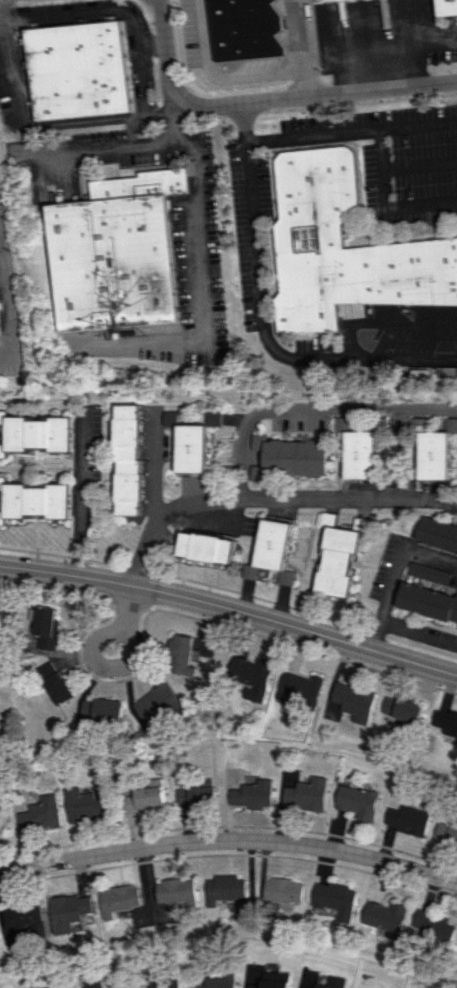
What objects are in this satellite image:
building: (324, 0)
building: (446, 7)
road: (114, 12)
building: (243, 29)
road: (297, 36)
road: (392, 46)
building: (77, 70)
road: (230, 78)
road: (267, 102)
road: (53, 122)
road: (349, 130)
road: (122, 148)
road: (385, 201)
road: (192, 232)
building: (344, 249)
building: (113, 254)
road: (6, 311)
road: (258, 323)
road: (309, 410)
building: (168, 418)
building: (340, 424)
building: (450, 425)
building: (35, 434)
building: (190, 449)
building: (358, 455)
building: (432, 456)
building: (287, 458)
building: (127, 462)
building: (2, 483)
road: (270, 497)
road: (80, 500)
building: (37, 501)
building: (437, 534)
building: (206, 547)
building: (275, 549)
building: (337, 562)
building: (427, 572)
road: (393, 576)
building: (427, 602)
road: (230, 612)
building: (46, 627)
road: (418, 634)
road: (95, 650)
building: (183, 656)
building: (252, 676)
building: (55, 683)
building: (300, 688)
building: (157, 703)
building: (350, 703)
building: (102, 710)
building: (399, 711)
building: (445, 725)
building: (304, 794)
building: (250, 795)
building: (194, 796)
building: (143, 798)
building: (356, 802)
building: (83, 806)
building: (38, 814)
building: (406, 820)
building: (445, 832)
road: (230, 840)
building: (222, 889)
building: (281, 890)
building: (174, 894)
building: (116, 900)
building: (333, 901)
building: (66, 913)
building: (18, 916)
building: (383, 917)
building: (432, 928)
building: (273, 976)
building: (213, 981)
building: (329, 983)
building: (90, 984)
building: (157, 984)
building: (267, 984)
building: (46, 987)
building: (298, 987)

